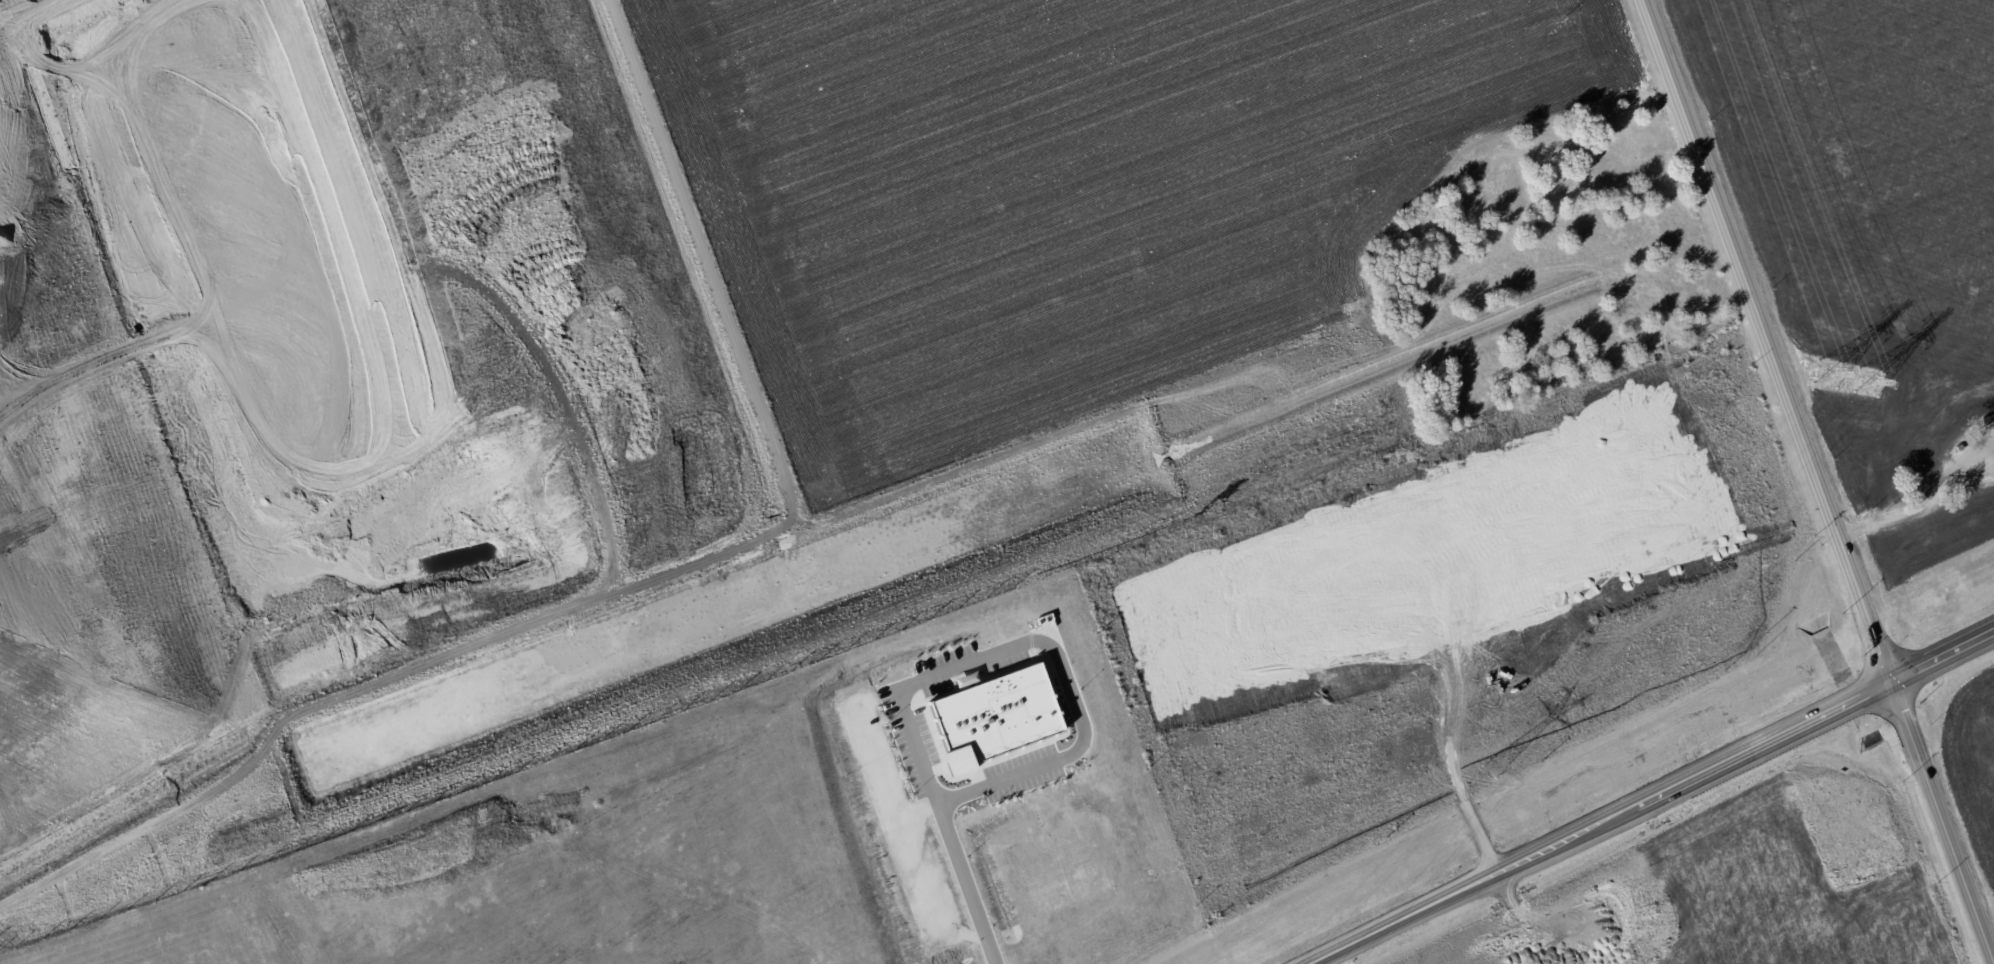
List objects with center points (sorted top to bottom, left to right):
power tower: (1850, 378)
landfill: (348, 427)
road: (1812, 482)
road: (636, 585)
road: (1041, 643)
building: (990, 716)
road: (1745, 754)
power tower: (1492, 767)
road: (964, 884)
road: (1404, 918)

